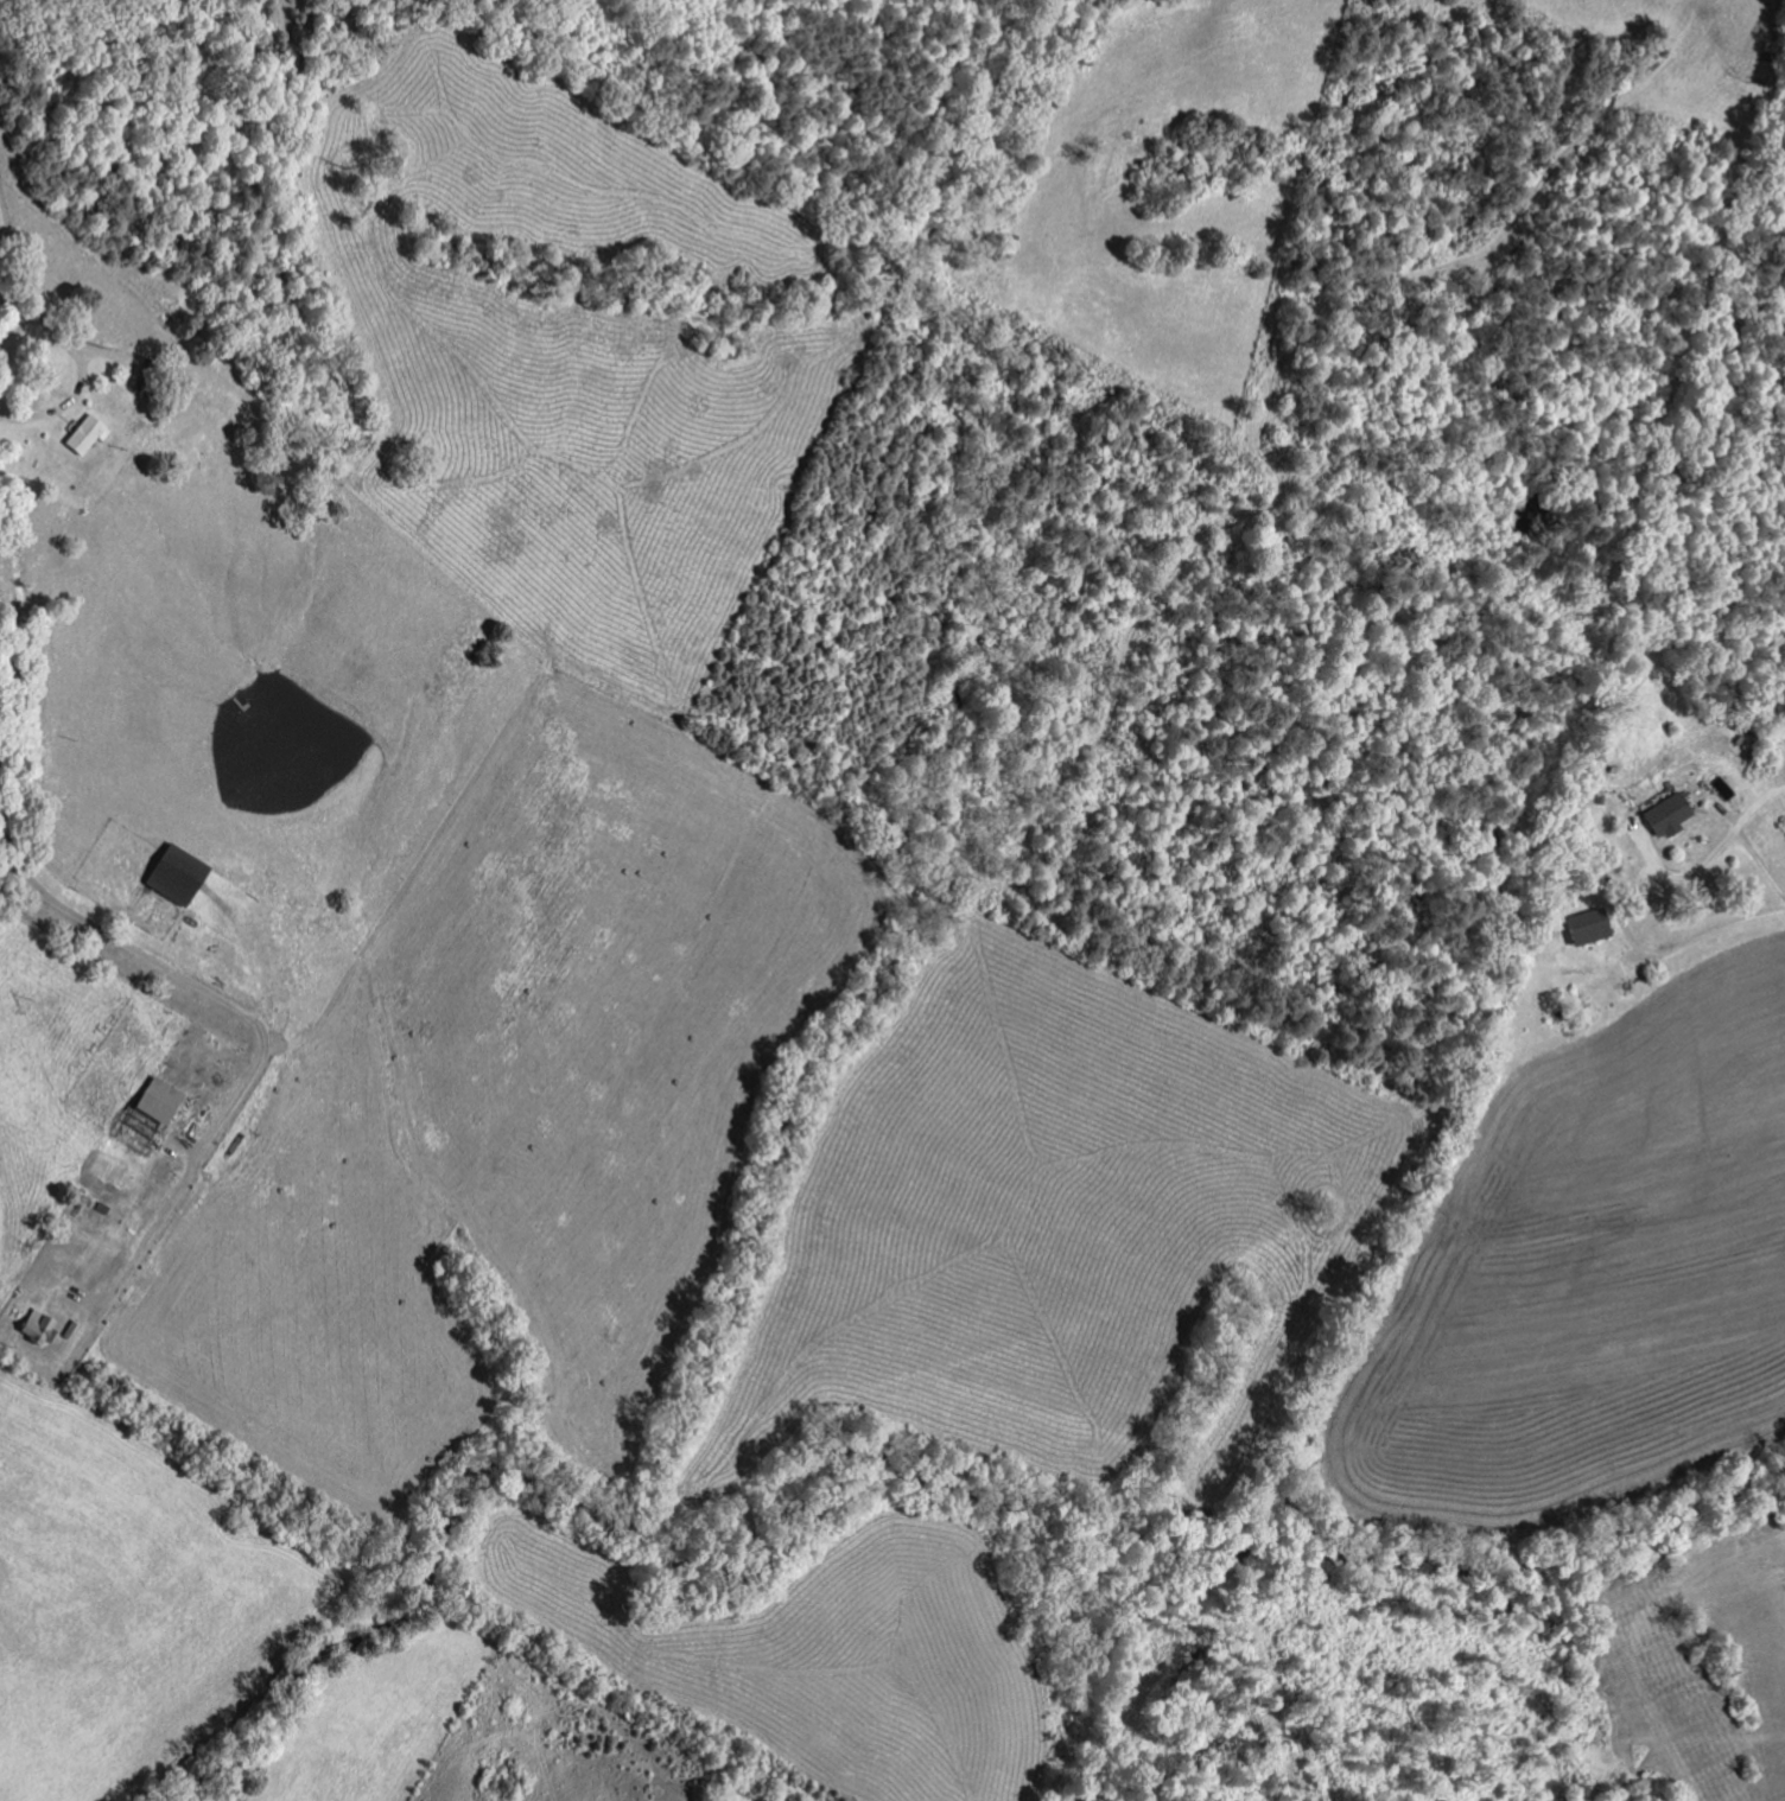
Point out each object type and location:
road: (4, 267)
road: (9, 342)
road: (81, 374)
building: (158, 377)
building: (90, 433)
building: (1664, 815)
road: (1747, 839)
building: (184, 874)
building: (1583, 928)
road: (1691, 946)
road: (252, 1019)
building: (165, 1100)

